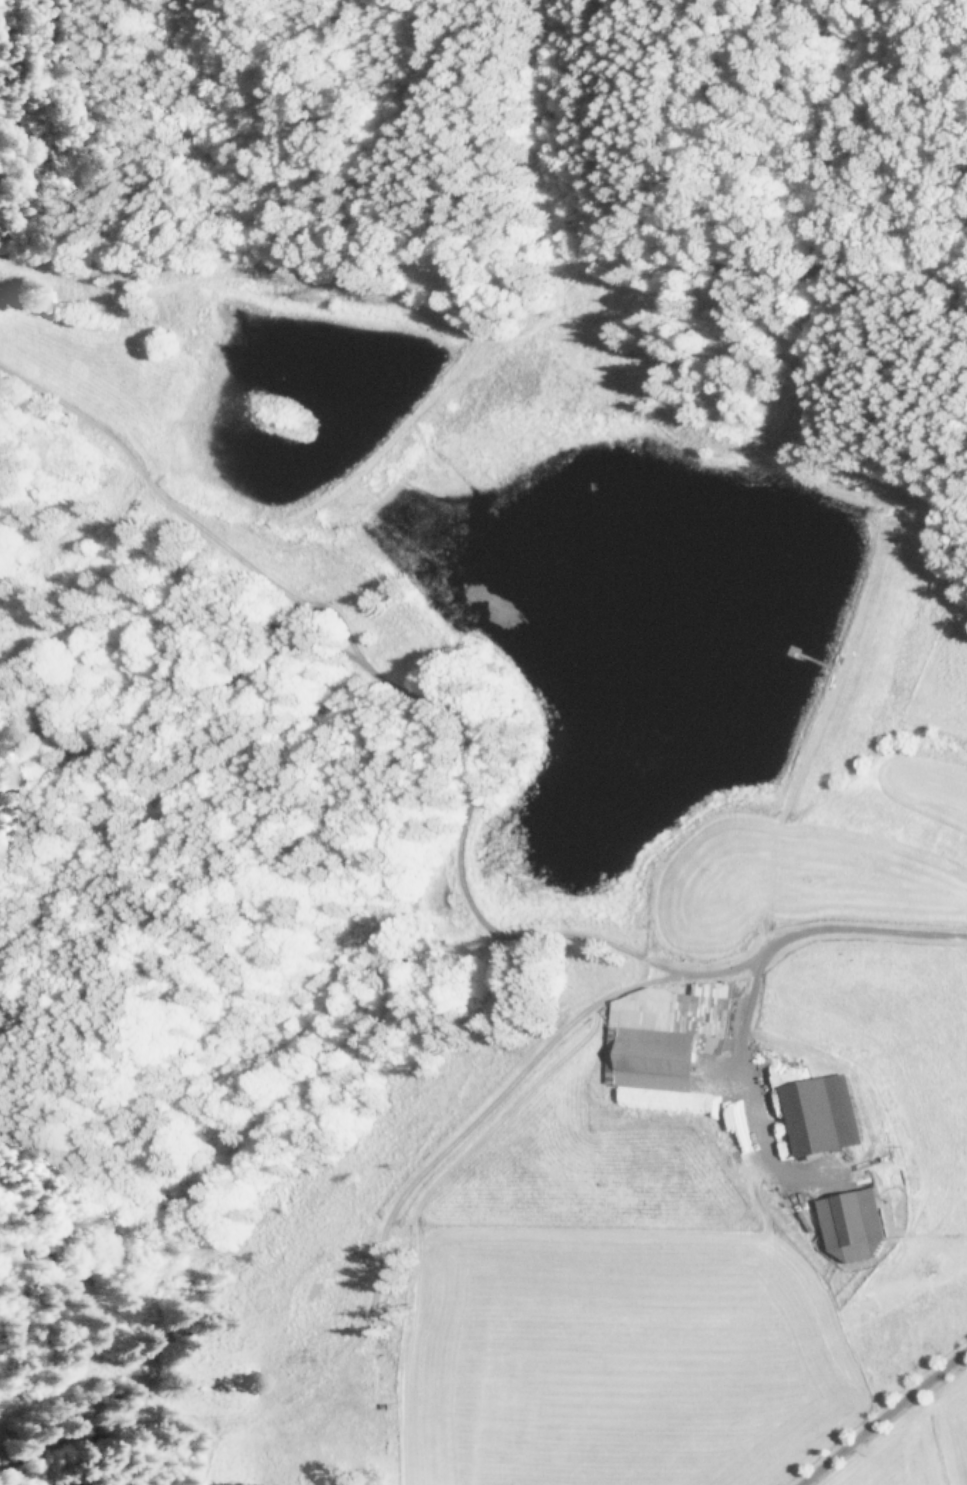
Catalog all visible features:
road: (799, 933)
building: (665, 1044)
building: (821, 1117)
building: (736, 1126)
building: (854, 1224)
road: (880, 1414)

